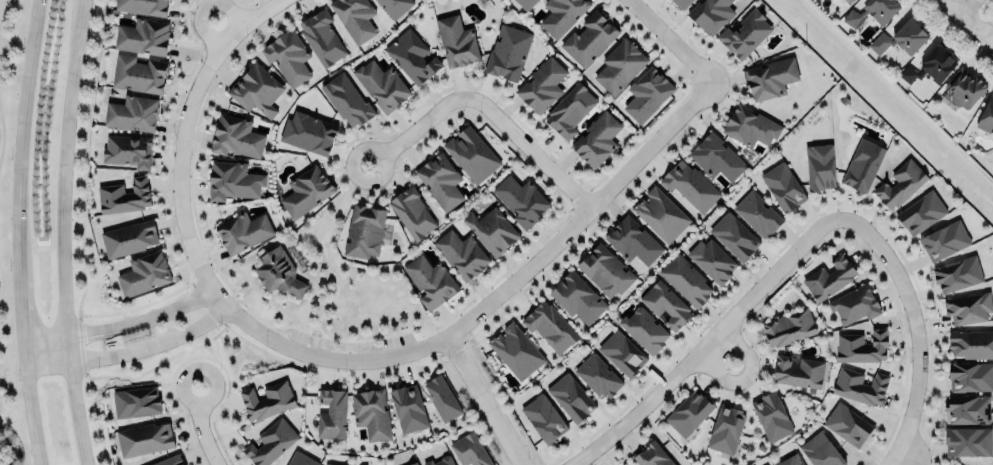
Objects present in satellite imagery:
building: (851, 0)
building: (525, 3)
building: (681, 3)
building: (142, 6)
road: (200, 6)
building: (394, 6)
road: (961, 6)
building: (872, 11)
building: (711, 14)
building: (561, 15)
building: (354, 17)
road: (966, 23)
building: (744, 32)
road: (12, 33)
road: (988, 33)
building: (143, 36)
building: (909, 36)
building: (321, 37)
building: (589, 38)
road: (672, 40)
building: (456, 41)
building: (880, 43)
building: (507, 52)
building: (411, 56)
building: (287, 57)
building: (620, 64)
building: (928, 64)
building: (138, 74)
building: (770, 79)
building: (381, 85)
building: (542, 86)
building: (964, 87)
building: (255, 88)
building: (647, 94)
building: (346, 100)
road: (190, 101)
building: (569, 109)
building: (132, 112)
building: (986, 115)
building: (750, 127)
road: (416, 130)
building: (308, 132)
road: (1, 134)
building: (235, 136)
building: (597, 138)
road: (529, 148)
building: (128, 150)
building: (472, 153)
building: (716, 158)
building: (862, 164)
building: (819, 166)
building: (232, 180)
building: (439, 181)
building: (690, 185)
building: (900, 185)
building: (783, 187)
building: (305, 191)
building: (124, 196)
building: (520, 200)
building: (411, 211)
building: (661, 213)
building: (757, 213)
building: (921, 213)
building: (492, 229)
building: (364, 230)
building: (242, 231)
road: (25, 232)
road: (68, 233)
building: (734, 235)
building: (128, 237)
building: (632, 239)
building: (944, 241)
building: (461, 253)
road: (321, 255)
building: (711, 259)
building: (605, 271)
building: (277, 272)
building: (143, 273)
building: (957, 274)
building: (829, 277)
building: (430, 280)
building: (686, 280)
building: (577, 298)
building: (665, 304)
building: (854, 304)
building: (967, 308)
road: (466, 319)
road: (120, 325)
building: (549, 326)
building: (788, 326)
road: (914, 329)
building: (644, 330)
road: (706, 342)
building: (971, 342)
building: (861, 347)
road: (130, 351)
building: (516, 351)
building: (621, 352)
road: (214, 354)
building: (798, 371)
road: (6, 373)
building: (598, 375)
road: (746, 375)
building: (970, 375)
building: (860, 385)
building: (571, 397)
building: (441, 398)
building: (266, 399)
road: (482, 400)
building: (136, 402)
building: (408, 409)
building: (967, 409)
building: (689, 411)
building: (371, 413)
building: (331, 414)
building: (544, 417)
building: (771, 417)
building: (847, 424)
road: (201, 427)
building: (726, 429)
building: (144, 438)
building: (968, 441)
building: (270, 442)
building: (469, 449)
building: (820, 450)
building: (652, 455)
road: (902, 456)
building: (301, 459)
building: (169, 460)
building: (790, 460)
building: (441, 461)
building: (415, 463)
building: (329, 464)
building: (627, 464)
building: (948, 464)
building: (951, 464)
building: (956, 464)

